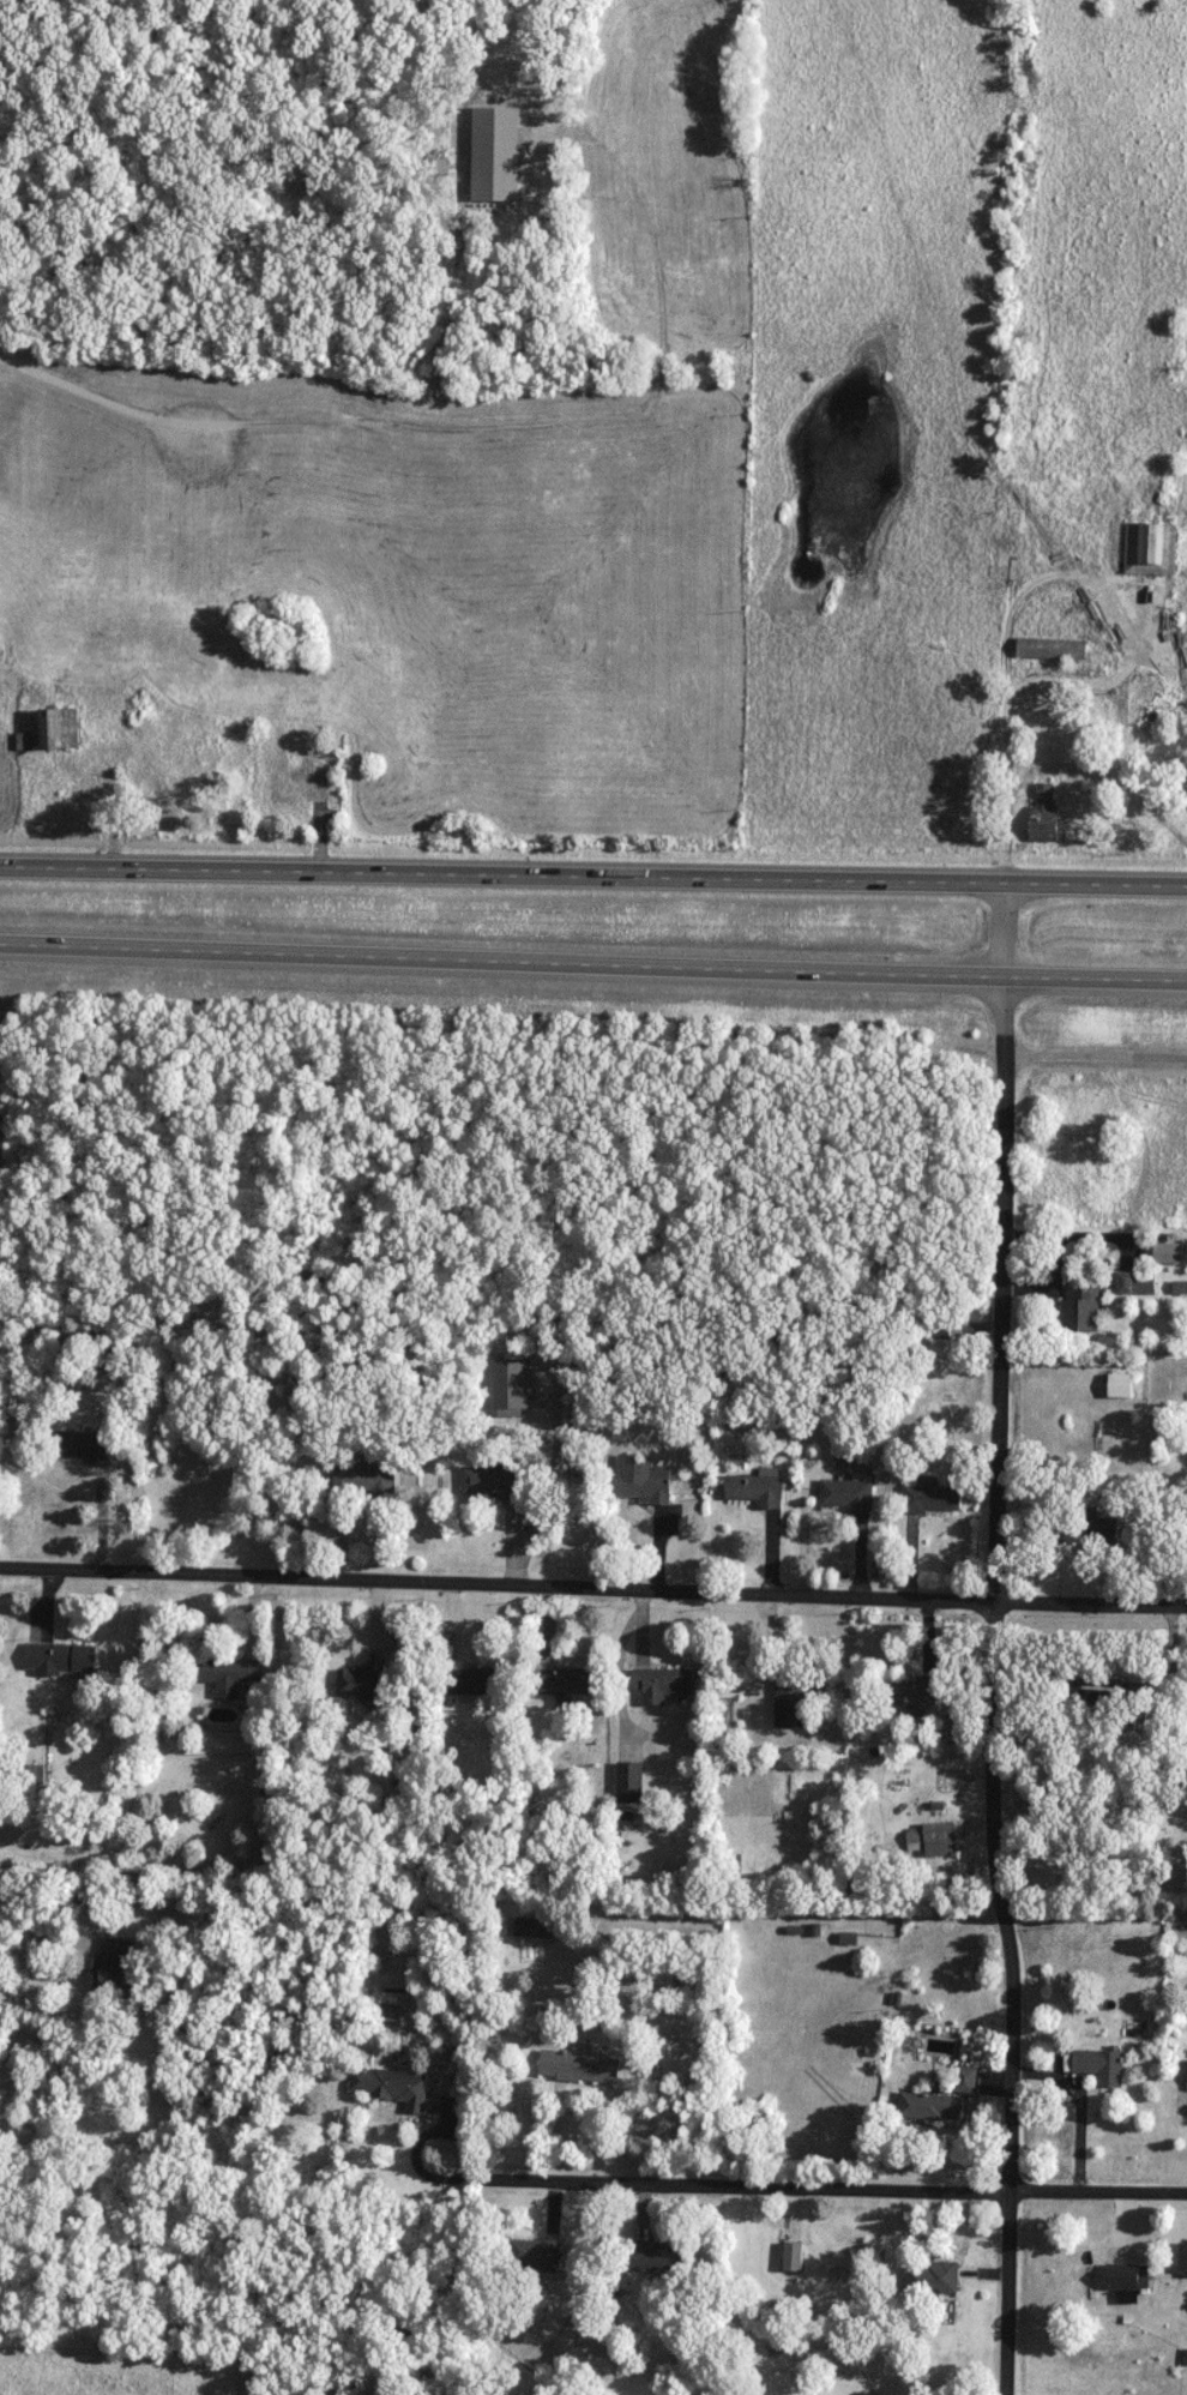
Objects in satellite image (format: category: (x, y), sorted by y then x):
road: (200, 425)
building: (1150, 549)
building: (1049, 649)
road: (1111, 680)
building: (1149, 692)
building: (1145, 712)
building: (58, 728)
building: (302, 784)
building: (175, 788)
building: (1043, 813)
road: (593, 875)
road: (592, 967)
road: (1095, 1058)
building: (1135, 1283)
building: (1079, 1305)
building: (940, 1328)
building: (782, 1342)
building: (510, 1386)
building: (1119, 1386)
building: (85, 1446)
building: (363, 1480)
building: (493, 1481)
building: (640, 1481)
building: (755, 1490)
building: (845, 1496)
building: (929, 1497)
building: (1085, 1528)
road: (592, 1587)
road: (994, 1638)
building: (62, 1657)
building: (228, 1672)
building: (470, 1681)
building: (363, 1684)
building: (662, 1684)
building: (562, 1687)
building: (1089, 1690)
building: (911, 1695)
building: (795, 1698)
building: (629, 1783)
building: (939, 1840)
building: (730, 1875)
road: (23, 1920)
building: (534, 1927)
building: (115, 1967)
building: (1099, 2066)
building: (578, 2068)
building: (965, 2080)
building: (393, 2086)
building: (929, 2107)
road: (807, 2184)
building: (1182, 2253)
building: (534, 2255)
building: (793, 2256)
building: (658, 2257)
building: (933, 2277)

